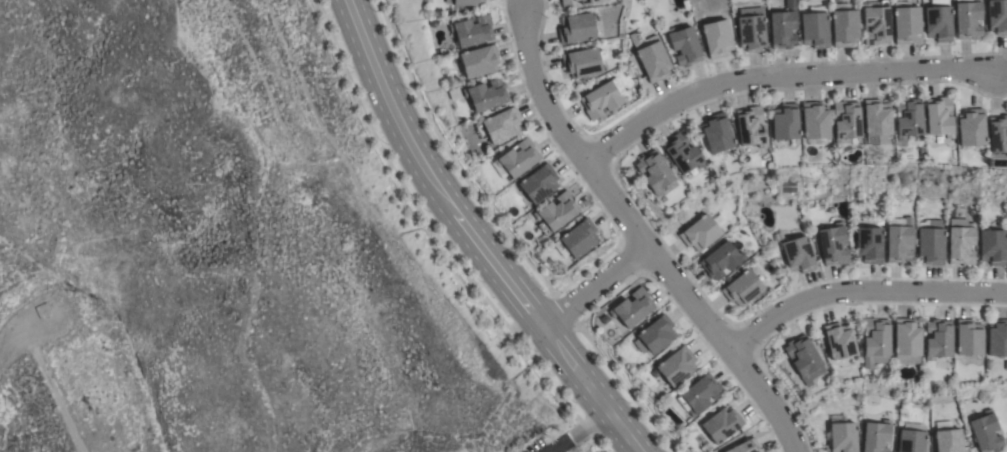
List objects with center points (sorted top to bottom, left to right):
building: (466, 2)
building: (589, 2)
building: (568, 3)
building: (997, 16)
building: (967, 19)
building: (875, 22)
building: (905, 23)
building: (938, 23)
building: (843, 25)
building: (783, 27)
building: (814, 27)
building: (576, 28)
building: (472, 31)
building: (751, 33)
building: (716, 38)
building: (684, 46)
building: (651, 57)
building: (479, 61)
building: (581, 63)
road: (779, 80)
building: (486, 95)
building: (603, 98)
building: (876, 117)
building: (938, 117)
building: (814, 120)
building: (907, 120)
building: (784, 122)
building: (846, 124)
building: (499, 126)
building: (750, 127)
building: (970, 127)
building: (716, 133)
building: (997, 134)
building: (681, 152)
building: (518, 158)
building: (654, 171)
building: (538, 183)
building: (555, 212)
building: (700, 233)
road: (470, 237)
building: (576, 240)
road: (640, 240)
building: (900, 242)
building: (931, 243)
building: (962, 244)
building: (833, 245)
building: (869, 245)
building: (992, 246)
building: (798, 254)
building: (721, 260)
building: (742, 288)
road: (594, 289)
road: (859, 294)
building: (632, 308)
building: (42, 310)
building: (655, 335)
building: (906, 337)
building: (968, 337)
building: (937, 339)
building: (997, 339)
building: (839, 341)
building: (875, 342)
building: (803, 359)
building: (676, 366)
building: (699, 395)
building: (722, 424)
road: (577, 432)
building: (985, 432)
building: (842, 435)
building: (876, 436)
building: (911, 438)
building: (947, 438)
building: (746, 447)
road: (592, 449)

